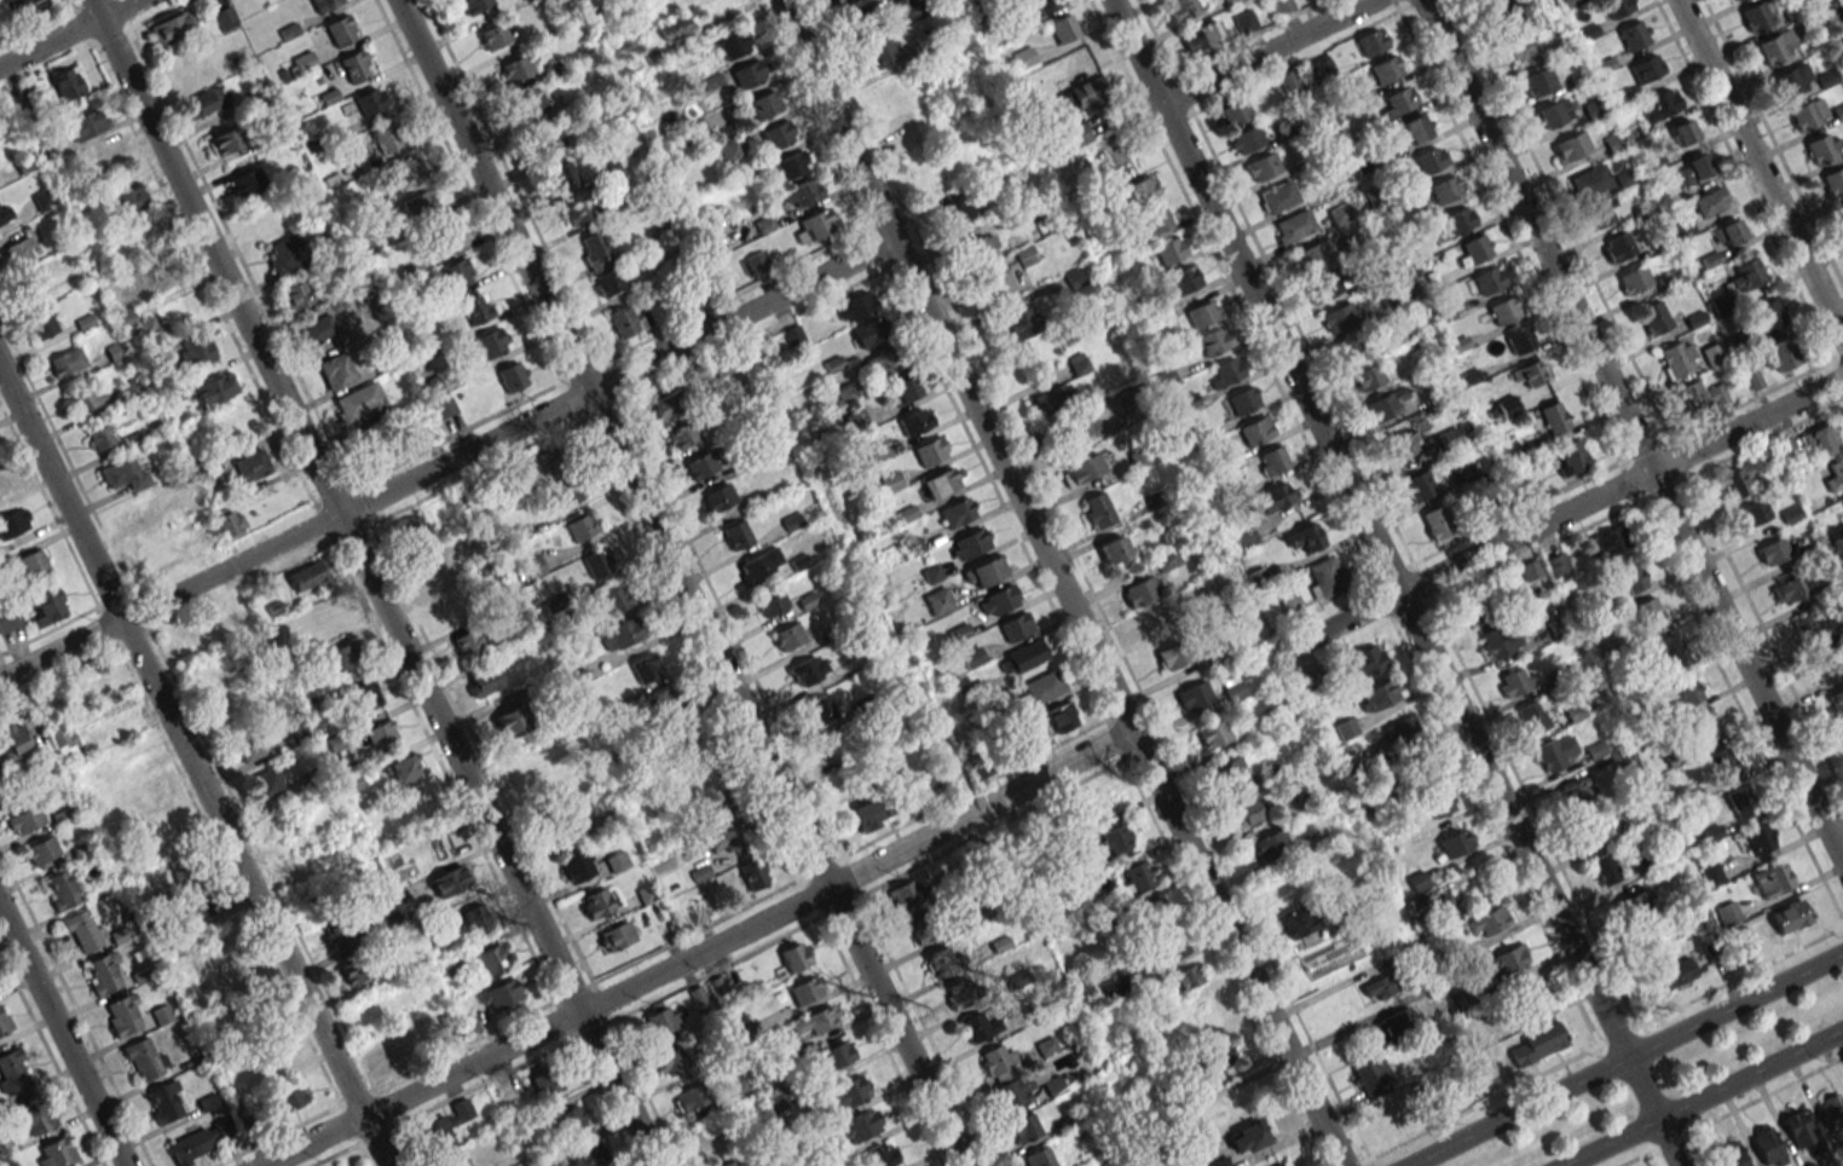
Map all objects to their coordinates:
building: (1491, 0)
building: (1842, 0)
building: (842, 1)
building: (1570, 1)
building: (323, 4)
building: (474, 5)
building: (1282, 5)
building: (1040, 6)
building: (1618, 6)
building: (21, 7)
building: (1182, 8)
building: (905, 10)
building: (1507, 12)
building: (1756, 16)
building: (225, 17)
building: (1244, 21)
building: (173, 27)
building: (674, 28)
building: (1063, 28)
building: (340, 29)
road: (68, 33)
building: (493, 35)
building: (1634, 35)
building: (1202, 36)
building: (1371, 41)
building: (734, 44)
building: (1523, 46)
building: (1776, 46)
building: (882, 52)
road: (1265, 52)
building: (1024, 57)
building: (354, 65)
building: (1386, 68)
building: (514, 69)
building: (1646, 69)
building: (749, 74)
building: (1792, 79)
building: (1289, 81)
building: (1538, 81)
building: (68, 82)
building: (1082, 93)
building: (531, 100)
building: (206, 102)
building: (369, 102)
building: (1398, 102)
building: (763, 104)
building: (1659, 104)
building: (1234, 112)
building: (1554, 112)
building: (1808, 114)
building: (86, 123)
building: (1416, 128)
building: (1683, 132)
building: (778, 134)
building: (1078, 134)
building: (385, 138)
building: (550, 138)
building: (1246, 139)
building: (224, 140)
building: (1571, 146)
building: (1824, 148)
building: (730, 149)
building: (105, 157)
building: (1431, 158)
building: (792, 163)
building: (1263, 166)
building: (1694, 167)
road: (1760, 169)
building: (399, 171)
building: (562, 175)
building: (1589, 180)
building: (1833, 181)
building: (245, 183)
building: (1445, 189)
building: (1140, 190)
building: (802, 194)
building: (1277, 196)
building: (129, 201)
building: (1710, 202)
building: (418, 206)
building: (578, 209)
building: (958, 209)
building: (5, 213)
building: (1340, 213)
building: (1600, 213)
building: (1842, 215)
building: (1155, 220)
building: (1457, 221)
building: (813, 226)
building: (1293, 226)
building: (1728, 233)
building: (439, 241)
building: (983, 247)
building: (1617, 247)
building: (1474, 248)
building: (19, 250)
building: (1169, 250)
building: (284, 252)
building: (594, 252)
building: (1312, 255)
building: (756, 261)
building: (456, 272)
building: (1745, 275)
building: (1074, 278)
building: (1185, 278)
building: (1634, 278)
building: (1485, 281)
building: (128, 282)
building: (608, 282)
building: (999, 283)
building: (1327, 284)
building: (295, 296)
building: (692, 299)
building: (856, 306)
building: (1716, 306)
building: (474, 307)
building: (1503, 310)
building: (1202, 313)
building: (1341, 314)
building: (1766, 314)
building: (1654, 317)
building: (624, 321)
building: (1022, 321)
building: (41, 324)
building: (148, 327)
building: (314, 330)
building: (871, 331)
building: (1519, 339)
building: (1214, 341)
building: (491, 342)
building: (193, 348)
building: (1348, 348)
building: (1711, 354)
building: (1780, 356)
building: (1677, 358)
building: (67, 362)
building: (728, 362)
building: (882, 363)
building: (336, 370)
building: (1225, 371)
building: (1530, 374)
building: (512, 376)
building: (1367, 377)
building: (214, 388)
building: (905, 388)
building: (85, 397)
building: (1700, 397)
building: (1051, 399)
building: (1243, 399)
building: (358, 402)
building: (443, 405)
building: (665, 405)
building: (1387, 405)
building: (1506, 406)
building: (1553, 417)
building: (917, 420)
building: (1256, 431)
road: (1633, 431)
building: (682, 434)
building: (100, 435)
building: (1822, 439)
building: (1403, 448)
building: (930, 450)
building: (1570, 456)
building: (1272, 460)
road: (447, 462)
building: (554, 462)
building: (253, 464)
building: (700, 464)
building: (1081, 469)
building: (123, 473)
building: (1836, 475)
building: (1738, 479)
building: (941, 483)
building: (2, 484)
building: (1419, 485)
building: (562, 495)
building: (718, 497)
building: (1275, 497)
building: (1097, 509)
road: (1567, 510)
building: (957, 512)
building: (1752, 513)
building: (229, 521)
building: (1435, 521)
building: (13, 523)
building: (580, 526)
building: (414, 531)
building: (736, 533)
building: (1242, 536)
building: (1305, 537)
building: (969, 543)
building: (1604, 544)
building: (1114, 549)
building: (1773, 550)
building: (1168, 559)
building: (437, 561)
building: (597, 561)
building: (759, 564)
building: (1556, 564)
building: (29, 566)
building: (533, 566)
building: (1530, 570)
building: (984, 572)
building: (307, 575)
building: (1325, 577)
building: (1629, 577)
road: (1059, 582)
road: (1394, 582)
road: (371, 583)
road: (680, 583)
building: (1138, 591)
building: (612, 599)
building: (999, 600)
building: (48, 606)
building: (941, 607)
building: (1474, 610)
building: (232, 611)
building: (1647, 614)
building: (8, 617)
building: (1016, 625)
building: (1804, 627)
building: (622, 635)
building: (787, 636)
building: (295, 639)
building: (1500, 640)
building: (468, 645)
building: (1668, 651)
building: (1028, 654)
building: (343, 656)
building: (1172, 656)
building: (1369, 659)
building: (645, 668)
building: (1824, 668)
building: (808, 669)
building: (484, 681)
building: (1513, 682)
building: (1042, 687)
building: (1234, 688)
building: (1686, 688)
building: (1194, 694)
building: (1380, 694)
building: (364, 697)
building: (663, 702)
building: (1837, 704)
building: (820, 709)
building: (1062, 716)
building: (509, 720)
building: (1702, 726)
building: (299, 733)
building: (1400, 733)
building: (1212, 734)
building: (381, 735)
building: (17, 739)
building: (833, 741)
building: (64, 743)
building: (248, 747)
building: (1556, 751)
building: (1723, 764)
road: (192, 767)
building: (403, 768)
building: (1232, 768)
building: (980, 769)
building: (96, 773)
building: (267, 781)
building: (550, 789)
building: (1578, 790)
building: (1743, 801)
building: (1439, 802)
building: (1250, 810)
building: (867, 815)
building: (24, 820)
building: (1590, 830)
building: (560, 832)
building: (1757, 838)
building: (726, 839)
building: (1113, 839)
building: (1455, 843)
building: (1270, 844)
building: (42, 852)
building: (617, 861)
building: (576, 866)
building: (1604, 868)
building: (180, 870)
building: (753, 873)
building: (1710, 874)
building: (1137, 876)
building: (1773, 878)
building: (447, 881)
building: (60, 889)
building: (903, 895)
building: (596, 902)
building: (1634, 905)
building: (196, 910)
building: (1155, 913)
building: (478, 916)
building: (1789, 917)
building: (1487, 920)
building: (1299, 922)
building: (925, 925)
building: (82, 930)
building: (337, 931)
building: (614, 936)
building: (1657, 943)
building: (1172, 946)
road: (699, 952)
building: (795, 956)
building: (492, 959)
building: (943, 959)
building: (1507, 960)
building: (446, 964)
building: (358, 969)
building: (103, 972)
building: (1677, 972)
building: (1183, 980)
building: (1381, 986)
building: (1110, 988)
building: (804, 991)
building: (499, 994)
building: (961, 995)
building: (1530, 998)
building: (122, 1016)
building: (4, 1021)
building: (814, 1021)
building: (664, 1022)
building: (1398, 1022)
building: (978, 1027)
road: (62, 1038)
building: (1536, 1044)
road: (1598, 1045)
building: (393, 1052)
building: (837, 1055)
building: (1220, 1055)
building: (143, 1057)
road: (1624, 1058)
building: (996, 1060)
building: (671, 1061)
building: (12, 1070)
building: (1371, 1076)
building: (547, 1081)
building: (1452, 1090)
building: (1016, 1091)
building: (848, 1092)
building: (291, 1096)
building: (689, 1097)
road: (1703, 1099)
building: (163, 1102)
building: (1831, 1110)
building: (34, 1115)
building: (570, 1119)
road: (295, 1124)
building: (444, 1127)
building: (1024, 1127)
building: (1798, 1127)
building: (855, 1130)
building: (1248, 1137)
building: (200, 1142)
building: (1767, 1147)
building: (56, 1153)
building: (589, 1155)
building: (1731, 1155)
building: (882, 1156)
building: (1039, 1158)
building: (456, 1161)
building: (732, 1162)
building: (1219, 1162)
building: (1283, 1164)

